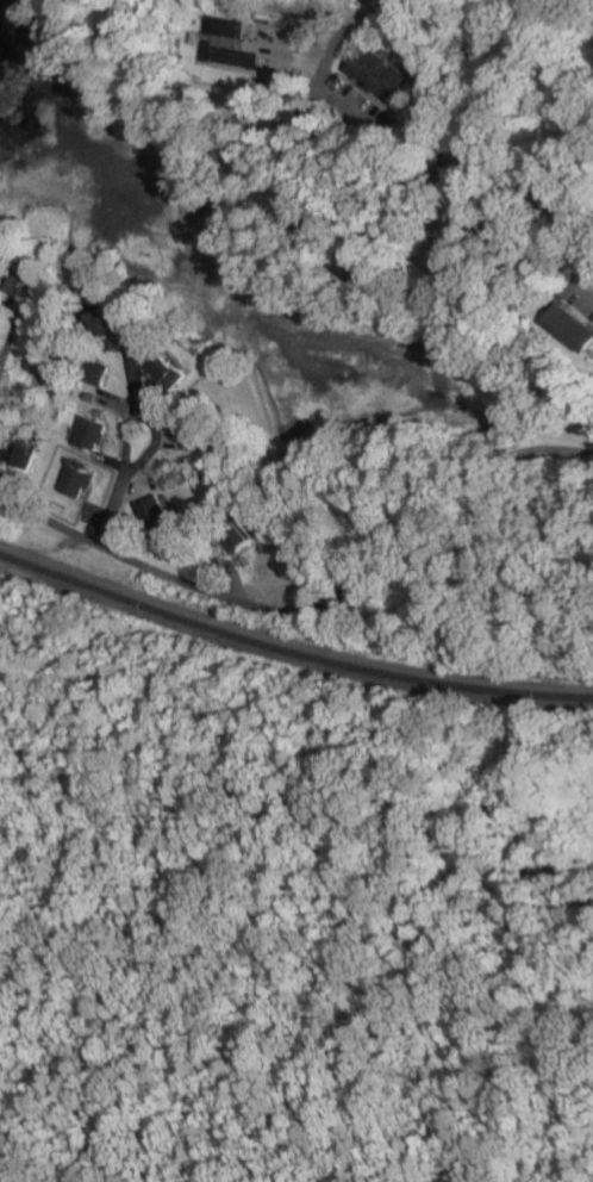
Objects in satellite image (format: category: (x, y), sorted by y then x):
building: (549, 2)
road: (276, 49)
building: (238, 57)
road: (333, 58)
building: (389, 75)
building: (283, 81)
road: (258, 108)
road: (385, 136)
building: (249, 145)
road: (279, 153)
building: (492, 164)
road: (294, 174)
building: (569, 193)
road: (433, 210)
building: (314, 217)
road: (573, 218)
building: (473, 223)
road: (372, 238)
road: (380, 250)
building: (370, 267)
road: (580, 273)
building: (24, 278)
road: (439, 279)
parking lot: (583, 294)
road: (20, 301)
building: (1, 321)
building: (145, 323)
building: (574, 325)
building: (111, 328)
road: (17, 329)
road: (0, 334)
building: (160, 335)
road: (592, 352)
road: (1, 356)
building: (99, 369)
building: (175, 372)
road: (143, 382)
building: (94, 397)
road: (123, 406)
building: (101, 412)
building: (17, 416)
building: (201, 419)
road: (111, 425)
building: (90, 433)
building: (216, 435)
road: (131, 436)
road: (193, 444)
road: (104, 446)
building: (19, 449)
road: (110, 460)
building: (71, 477)
road: (135, 484)
road: (87, 497)
building: (151, 514)
road: (93, 516)
building: (236, 535)
road: (226, 565)
road: (313, 611)
railway: (289, 651)

